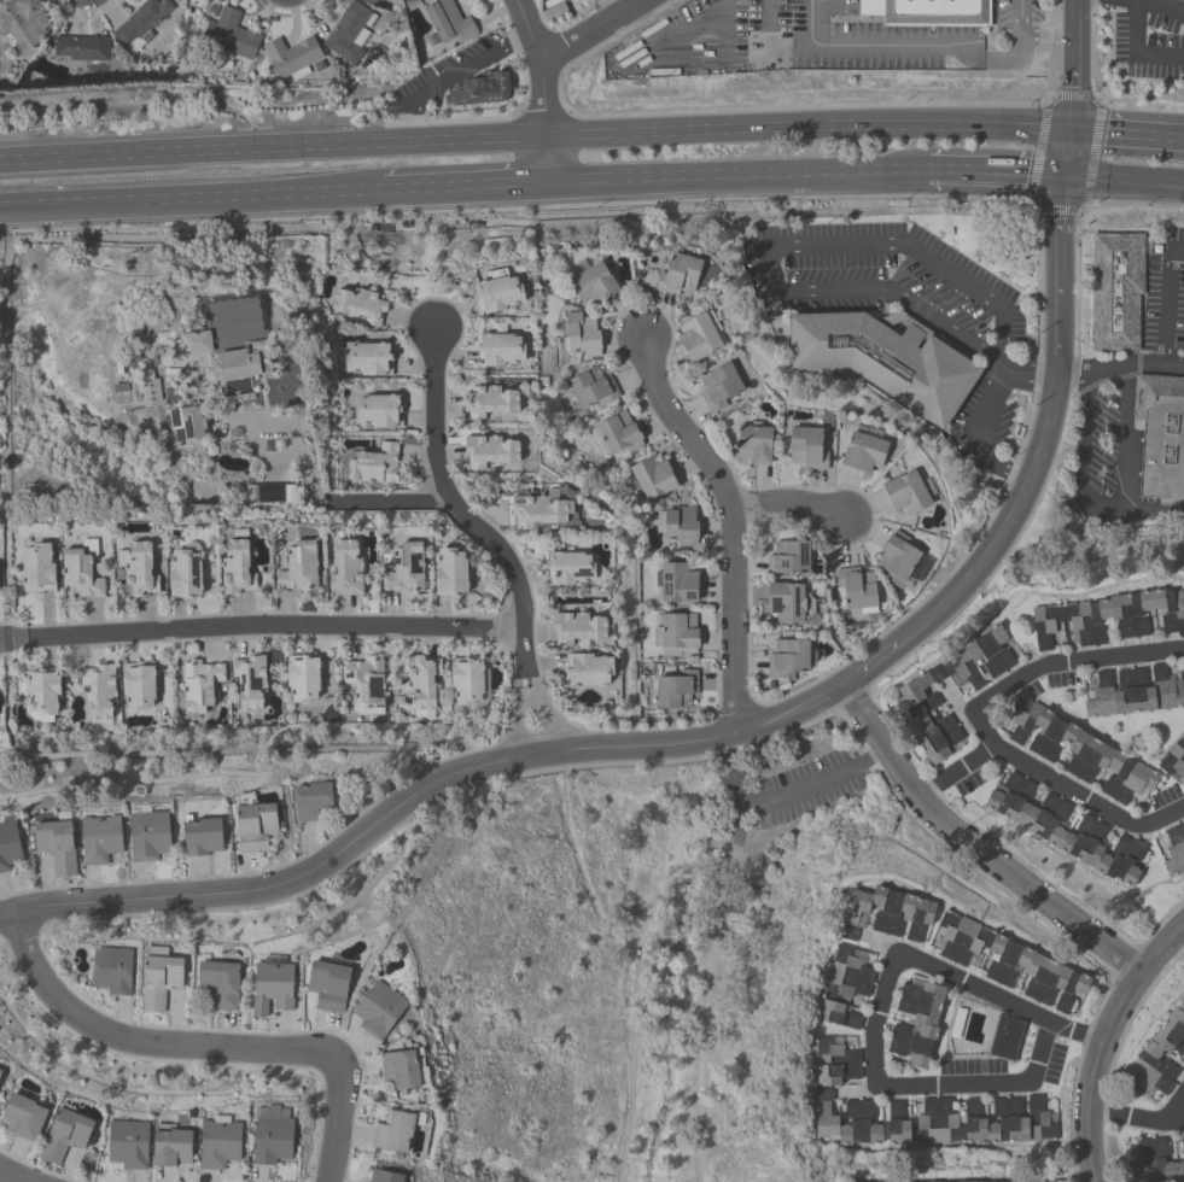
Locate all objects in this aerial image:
building: (368, 0)
road: (1130, 1)
road: (1160, 7)
building: (932, 14)
building: (141, 19)
building: (448, 19)
building: (22, 24)
road: (529, 28)
building: (348, 31)
building: (229, 34)
road: (1030, 36)
road: (909, 43)
building: (81, 47)
road: (558, 48)
road: (1136, 52)
building: (291, 57)
road: (468, 65)
building: (479, 88)
road: (810, 121)
road: (418, 125)
traffic signals: (1074, 127)
road: (1128, 130)
road: (273, 147)
road: (548, 157)
road: (739, 172)
road: (997, 175)
traffic signals: (1066, 180)
road: (463, 182)
road: (1124, 182)
road: (188, 193)
road: (899, 244)
building: (678, 274)
building: (593, 283)
building: (497, 291)
building: (1116, 294)
road: (1166, 302)
road: (900, 303)
building: (360, 304)
building: (581, 334)
building: (698, 335)
building: (196, 341)
building: (498, 347)
building: (168, 349)
building: (368, 358)
building: (883, 362)
building: (241, 367)
road: (1095, 371)
building: (718, 386)
building: (147, 387)
building: (590, 387)
parking lot: (1126, 390)
building: (489, 400)
building: (378, 410)
building: (186, 422)
building: (618, 433)
road: (984, 437)
building: (1159, 438)
road: (293, 440)
building: (753, 443)
building: (806, 447)
building: (489, 450)
building: (863, 451)
building: (374, 464)
building: (652, 476)
building: (906, 492)
building: (263, 493)
road: (789, 502)
road: (393, 503)
building: (541, 509)
road: (1153, 509)
road: (1109, 517)
building: (678, 525)
road: (730, 526)
road: (491, 539)
building: (788, 557)
building: (896, 560)
building: (37, 567)
building: (235, 567)
building: (299, 567)
building: (345, 567)
building: (136, 568)
building: (406, 568)
building: (570, 568)
building: (185, 572)
building: (450, 572)
building: (78, 577)
building: (676, 581)
building: (856, 589)
building: (786, 601)
building: (1108, 616)
road: (280, 626)
building: (577, 627)
building: (677, 633)
road: (24, 639)
road: (5, 642)
building: (787, 659)
building: (587, 668)
building: (302, 677)
building: (465, 679)
building: (249, 680)
building: (364, 680)
building: (421, 680)
building: (199, 683)
building: (138, 684)
building: (676, 690)
building: (42, 691)
building: (1132, 692)
building: (98, 694)
building: (911, 695)
building: (0, 707)
road: (787, 714)
road: (978, 721)
building: (1079, 751)
building: (1173, 756)
road: (955, 768)
parking lot: (792, 791)
road: (781, 798)
building: (311, 800)
building: (253, 823)
building: (1065, 829)
building: (148, 833)
building: (202, 835)
building: (99, 837)
road: (973, 843)
building: (8, 844)
building: (56, 844)
building: (1174, 849)
building: (885, 912)
park: (635, 959)
building: (1008, 961)
building: (111, 969)
building: (159, 977)
road: (887, 979)
building: (220, 983)
building: (273, 984)
building: (328, 984)
building: (842, 988)
building: (920, 1001)
building: (378, 1008)
road: (1071, 1029)
building: (1004, 1037)
road: (1101, 1038)
building: (911, 1041)
road: (204, 1045)
building: (1155, 1047)
building: (834, 1060)
building: (399, 1067)
building: (0, 1071)
road: (1176, 1105)
building: (824, 1111)
building: (1039, 1116)
building: (22, 1117)
road: (1133, 1117)
building: (974, 1122)
building: (1005, 1122)
building: (858, 1123)
building: (897, 1123)
building: (937, 1123)
building: (392, 1131)
building: (64, 1134)
building: (272, 1139)
building: (218, 1142)
building: (128, 1143)
building: (1182, 1143)
building: (170, 1146)
building: (1156, 1161)
building: (383, 1176)
road: (5, 1177)
building: (1037, 1181)
building: (1054, 1181)

